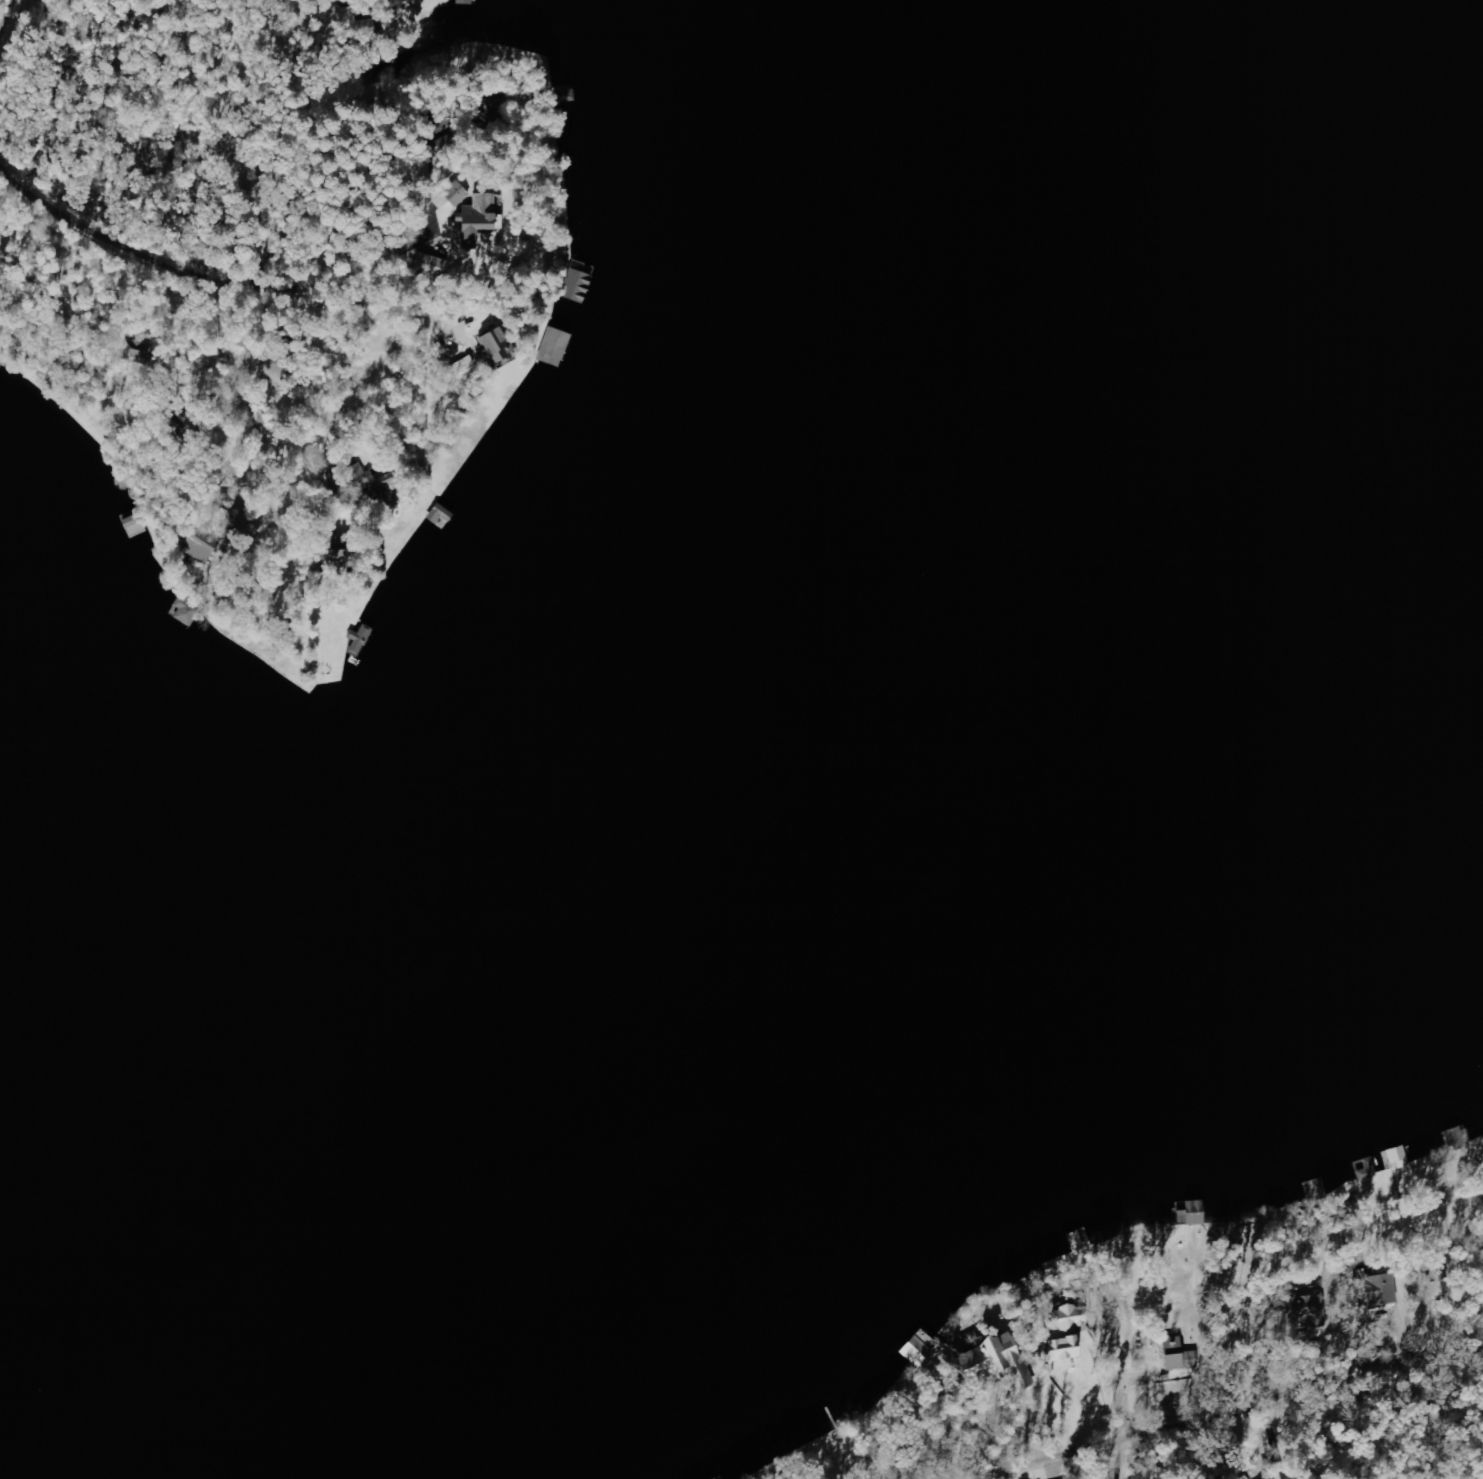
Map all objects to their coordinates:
building: (469, 2)
road: (33, 41)
road: (380, 106)
road: (358, 134)
road: (457, 165)
road: (420, 184)
building: (459, 195)
building: (484, 217)
building: (434, 266)
building: (558, 343)
building: (501, 347)
building: (387, 484)
building: (444, 515)
building: (348, 560)
building: (189, 612)
building: (362, 640)
building: (1397, 1157)
building: (1365, 1169)
building: (1190, 1213)
building: (1382, 1290)
road: (1238, 1324)
building: (1061, 1333)
building: (1170, 1354)
building: (988, 1360)

